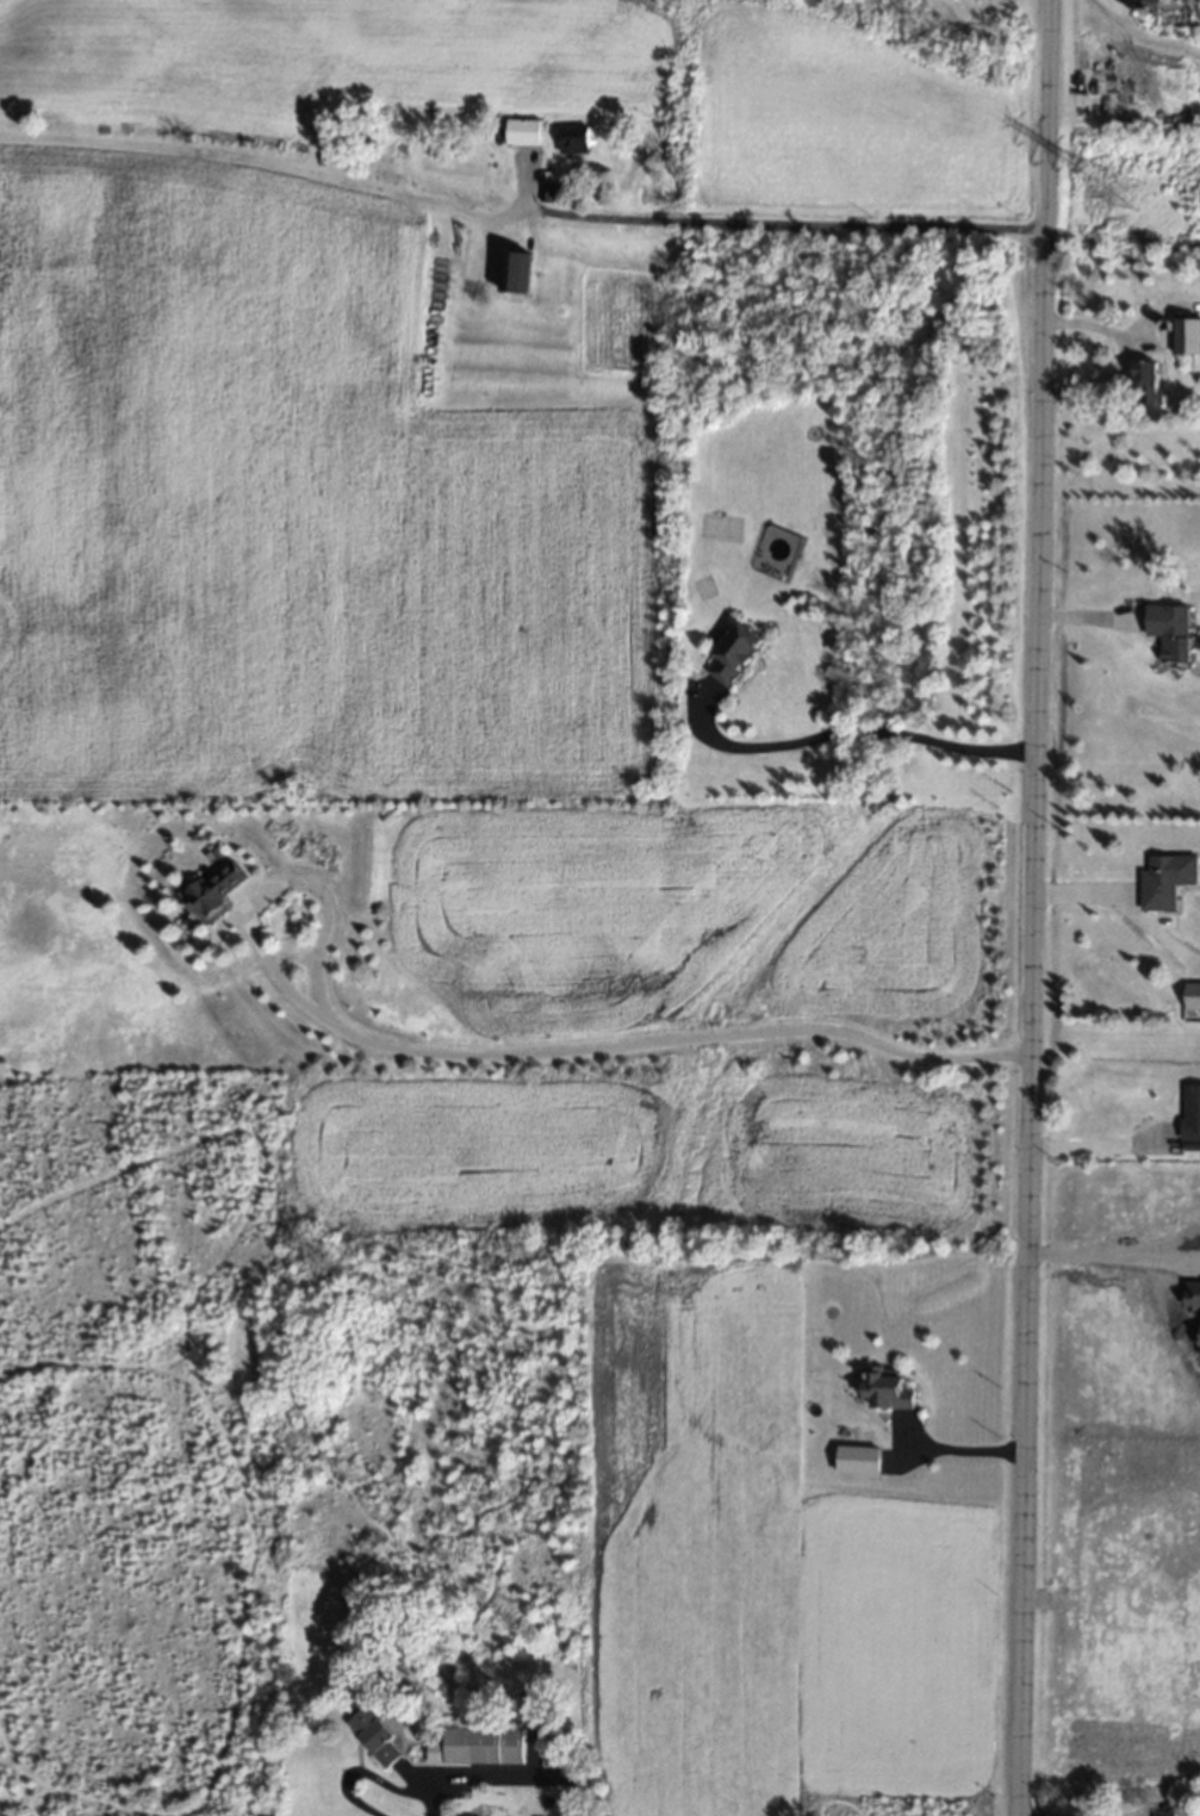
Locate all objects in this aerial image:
power tower: (651, 6)
road: (1138, 35)
building: (522, 132)
building: (573, 139)
building: (545, 193)
power tower: (1120, 206)
road: (781, 228)
building: (515, 272)
building: (1187, 336)
building: (1146, 385)
crop: (392, 461)
building: (1170, 632)
building: (734, 654)
road: (856, 735)
building: (1164, 881)
building: (213, 890)
road: (1032, 908)
building: (1192, 996)
road: (491, 1059)
building: (1190, 1113)
road: (1102, 1150)
crop: (1123, 1201)
road: (1103, 1255)
building: (1192, 1295)
building: (1199, 1342)
building: (888, 1389)
road: (965, 1454)
building: (857, 1461)
crop: (1115, 1549)
crop: (760, 1567)
building: (373, 1736)
building: (477, 1747)
road: (433, 1802)
building: (1163, 1814)

